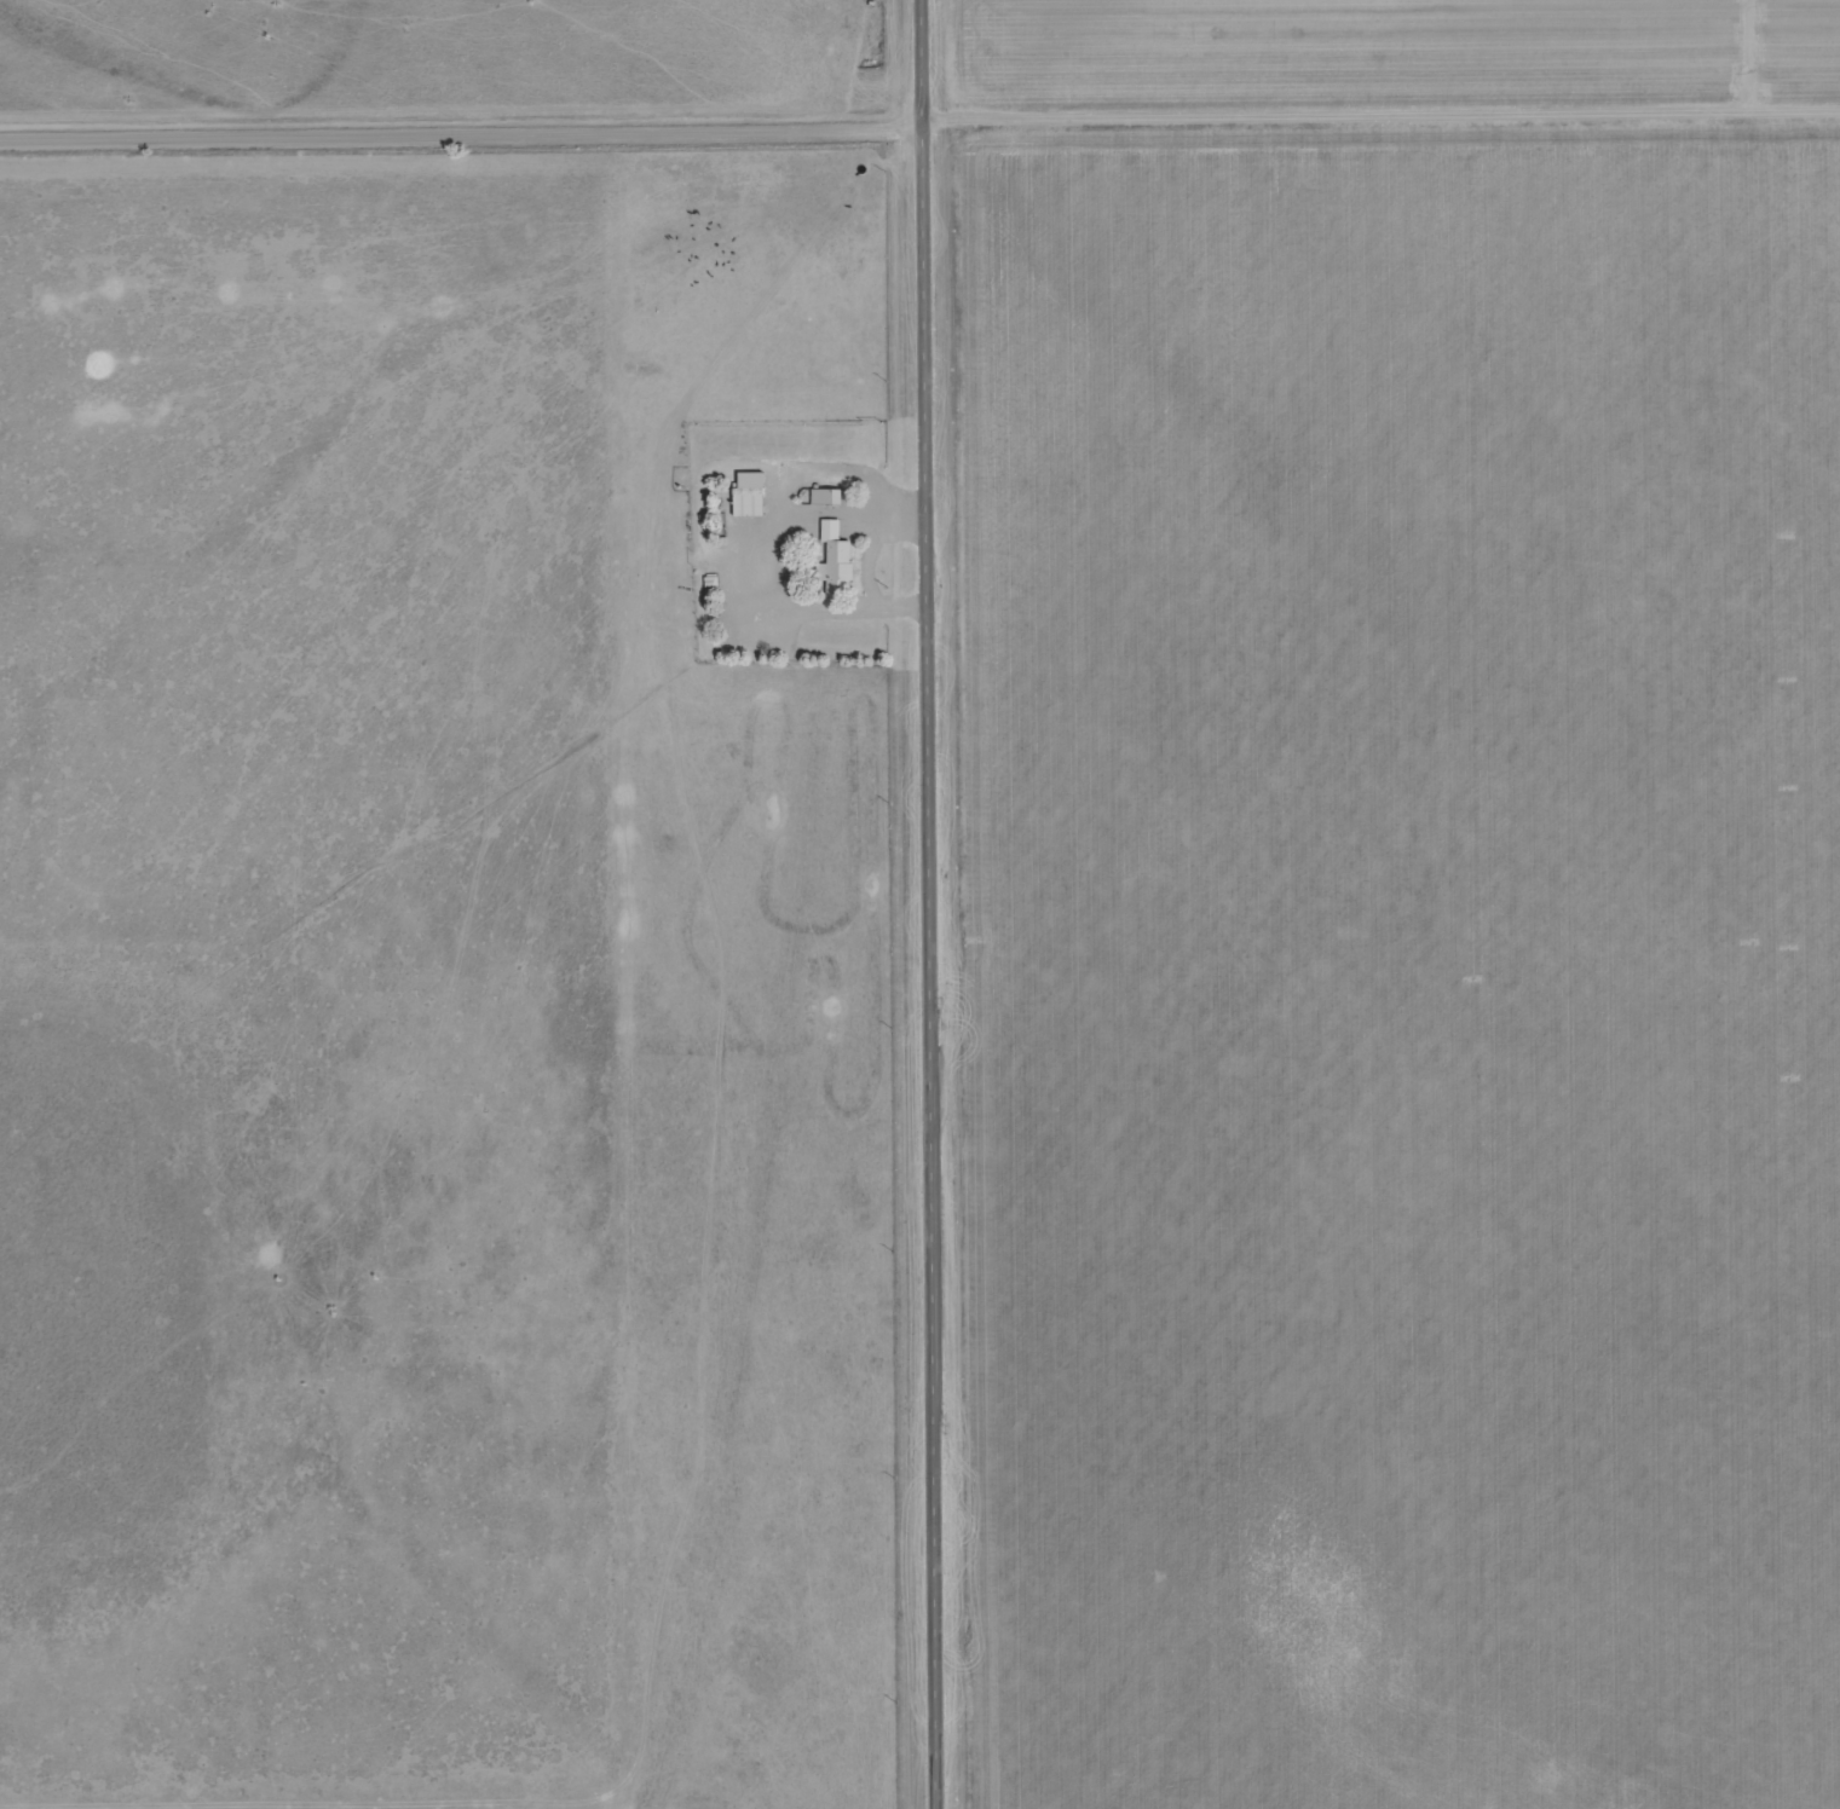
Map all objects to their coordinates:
road: (460, 133)
building: (823, 497)
building: (745, 502)
building: (834, 560)
road: (927, 904)

